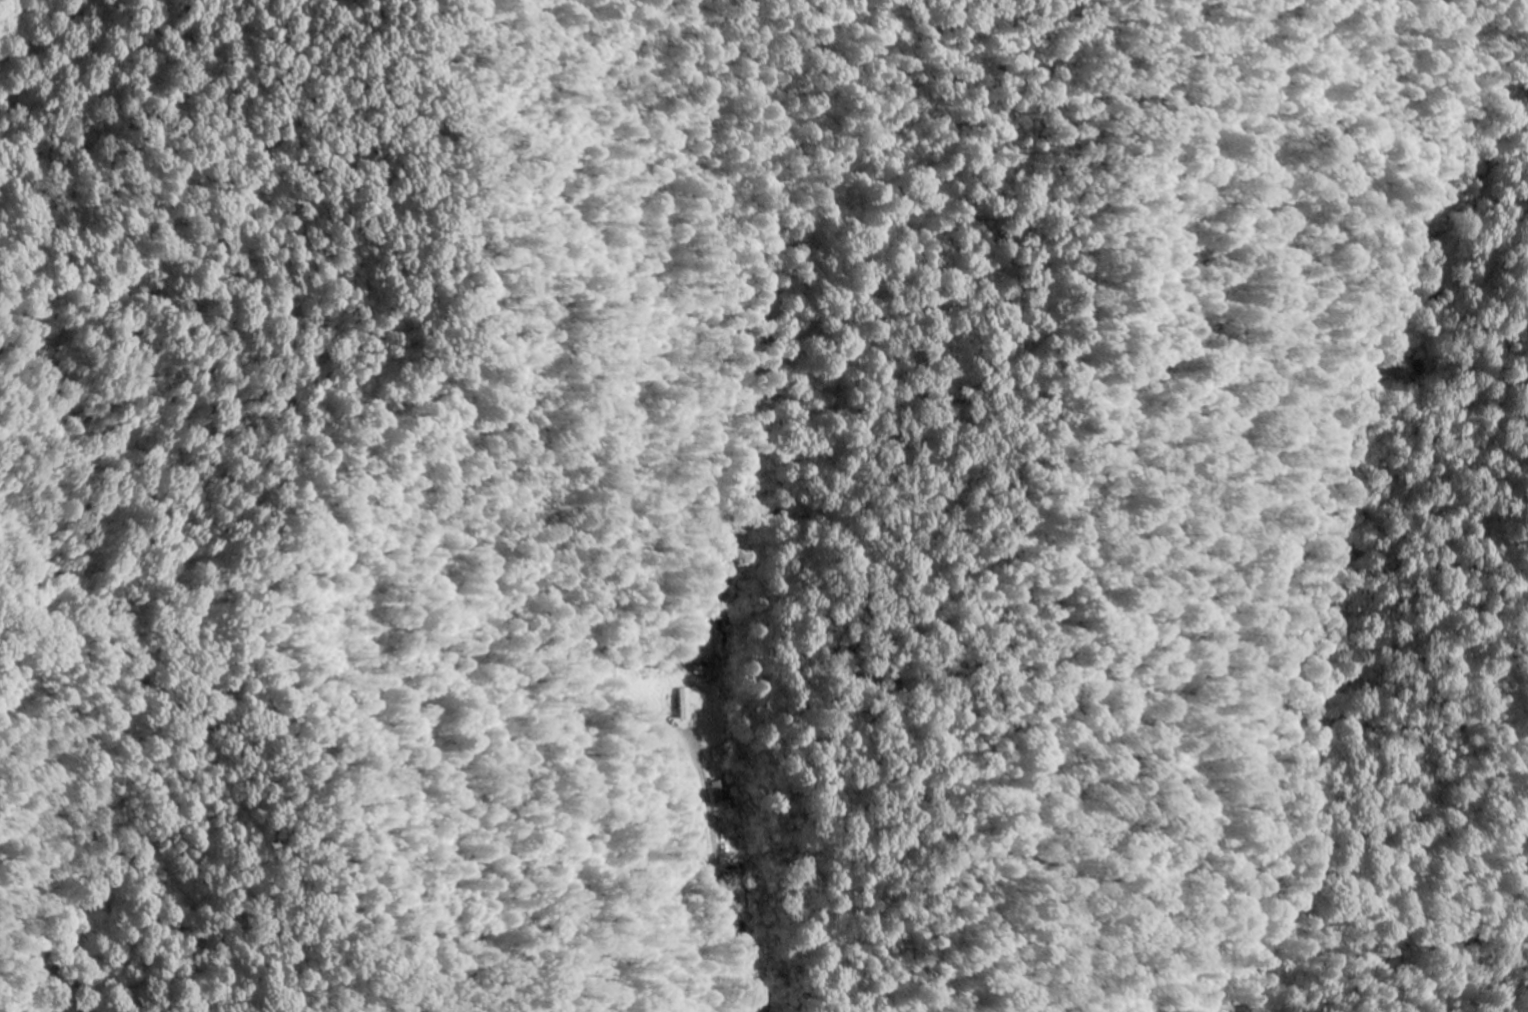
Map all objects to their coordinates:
building: (687, 703)
road: (737, 934)

